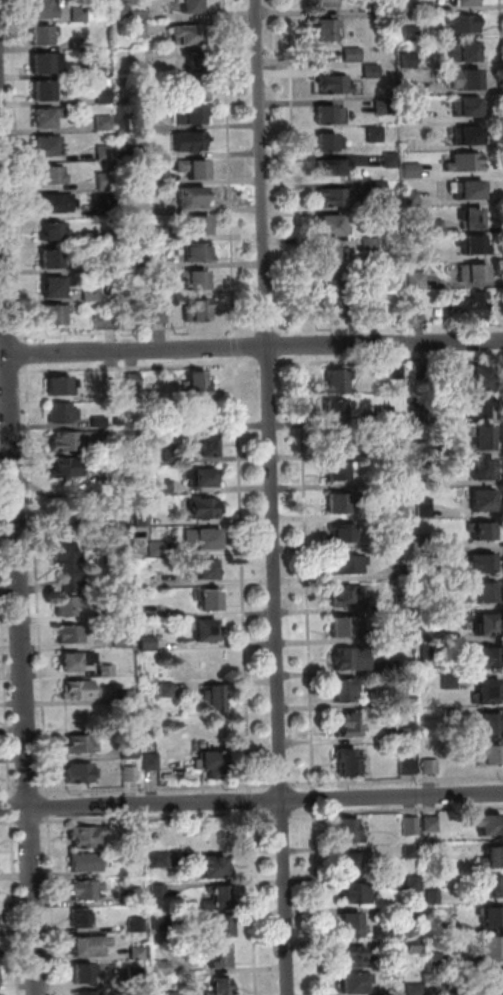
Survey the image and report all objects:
building: (322, 2)
building: (458, 2)
building: (384, 5)
building: (189, 6)
building: (407, 6)
building: (136, 7)
building: (36, 9)
building: (77, 11)
building: (460, 24)
building: (135, 27)
building: (183, 27)
building: (322, 28)
building: (409, 33)
building: (35, 36)
building: (459, 52)
building: (136, 53)
building: (350, 53)
road: (501, 56)
building: (406, 58)
building: (193, 60)
building: (37, 63)
building: (93, 68)
building: (369, 70)
building: (462, 79)
building: (327, 81)
building: (190, 87)
building: (407, 87)
building: (38, 90)
building: (101, 94)
building: (381, 103)
building: (463, 107)
building: (188, 112)
building: (325, 113)
building: (410, 114)
building: (38, 116)
building: (137, 120)
building: (101, 123)
building: (372, 133)
building: (464, 137)
building: (326, 141)
building: (187, 142)
building: (43, 145)
building: (102, 151)
building: (389, 159)
building: (462, 160)
building: (326, 167)
building: (193, 169)
building: (410, 170)
building: (49, 172)
building: (157, 174)
building: (102, 179)
building: (374, 188)
building: (464, 190)
building: (332, 194)
building: (189, 195)
building: (410, 198)
building: (53, 200)
building: (370, 216)
building: (467, 216)
building: (193, 224)
building: (324, 225)
building: (432, 225)
building: (51, 227)
building: (156, 232)
building: (367, 242)
building: (470, 245)
building: (192, 252)
building: (323, 252)
building: (412, 254)
building: (46, 257)
building: (106, 261)
building: (370, 270)
building: (469, 273)
building: (413, 279)
building: (192, 280)
building: (326, 280)
building: (50, 288)
building: (89, 292)
building: (328, 304)
building: (194, 309)
building: (369, 309)
building: (413, 310)
building: (462, 310)
building: (50, 314)
building: (156, 314)
building: (104, 318)
road: (251, 346)
road: (251, 360)
building: (394, 368)
building: (475, 375)
building: (331, 379)
building: (200, 381)
building: (61, 383)
road: (26, 397)
building: (475, 406)
building: (330, 409)
building: (63, 410)
building: (203, 410)
building: (380, 412)
building: (166, 420)
building: (98, 421)
building: (118, 421)
building: (477, 434)
building: (65, 440)
building: (203, 442)
building: (332, 444)
building: (171, 453)
building: (69, 464)
building: (477, 467)
building: (331, 471)
building: (120, 474)
building: (207, 475)
building: (419, 477)
building: (393, 479)
building: (162, 484)
road: (268, 497)
road: (302, 497)
building: (478, 500)
building: (333, 503)
building: (204, 504)
building: (421, 508)
building: (395, 509)
building: (66, 510)
road: (240, 516)
building: (142, 519)
building: (70, 522)
building: (116, 526)
building: (479, 531)
building: (338, 534)
building: (210, 535)
building: (421, 540)
building: (400, 542)
building: (157, 548)
building: (66, 550)
road: (20, 553)
building: (421, 560)
building: (477, 562)
building: (342, 565)
building: (207, 568)
building: (399, 571)
building: (152, 574)
building: (342, 593)
building: (481, 593)
building: (212, 596)
building: (401, 600)
building: (66, 605)
building: (104, 610)
building: (208, 626)
building: (343, 627)
building: (482, 627)
building: (72, 631)
building: (401, 633)
building: (425, 634)
building: (123, 639)
building: (147, 641)
building: (345, 656)
building: (484, 658)
building: (72, 660)
building: (106, 667)
building: (79, 689)
building: (166, 690)
building: (341, 690)
building: (485, 692)
building: (126, 695)
building: (212, 696)
building: (404, 700)
building: (342, 724)
building: (483, 726)
building: (404, 734)
building: (79, 742)
building: (128, 748)
building: (485, 753)
building: (344, 758)
building: (151, 761)
building: (214, 761)
building: (404, 764)
building: (427, 765)
building: (82, 770)
building: (127, 773)
road: (395, 779)
road: (257, 784)
road: (280, 784)
road: (249, 799)
road: (251, 801)
road: (46, 804)
road: (397, 809)
road: (9, 810)
road: (281, 813)
road: (154, 815)
road: (7, 820)
road: (28, 820)
building: (479, 823)
building: (430, 824)
building: (409, 825)
building: (348, 829)
building: (139, 834)
building: (89, 837)
building: (410, 851)
building: (430, 851)
building: (488, 855)
building: (162, 860)
building: (88, 862)
building: (355, 865)
building: (217, 868)
building: (412, 882)
building: (485, 885)
building: (89, 890)
building: (160, 891)
building: (350, 894)
building: (137, 896)
building: (431, 896)
building: (219, 898)
road: (253, 901)
road: (50, 904)
building: (409, 911)
building: (486, 913)
building: (83, 919)
building: (163, 923)
building: (139, 925)
building: (348, 925)
building: (221, 927)
building: (433, 928)
building: (488, 945)
building: (91, 946)
building: (413, 946)
building: (140, 954)
building: (348, 956)
building: (218, 957)
building: (436, 957)
building: (163, 969)
building: (87, 974)
building: (489, 977)
building: (137, 978)
building: (350, 984)
building: (222, 986)
building: (411, 987)
building: (437, 989)
building: (90, 993)

